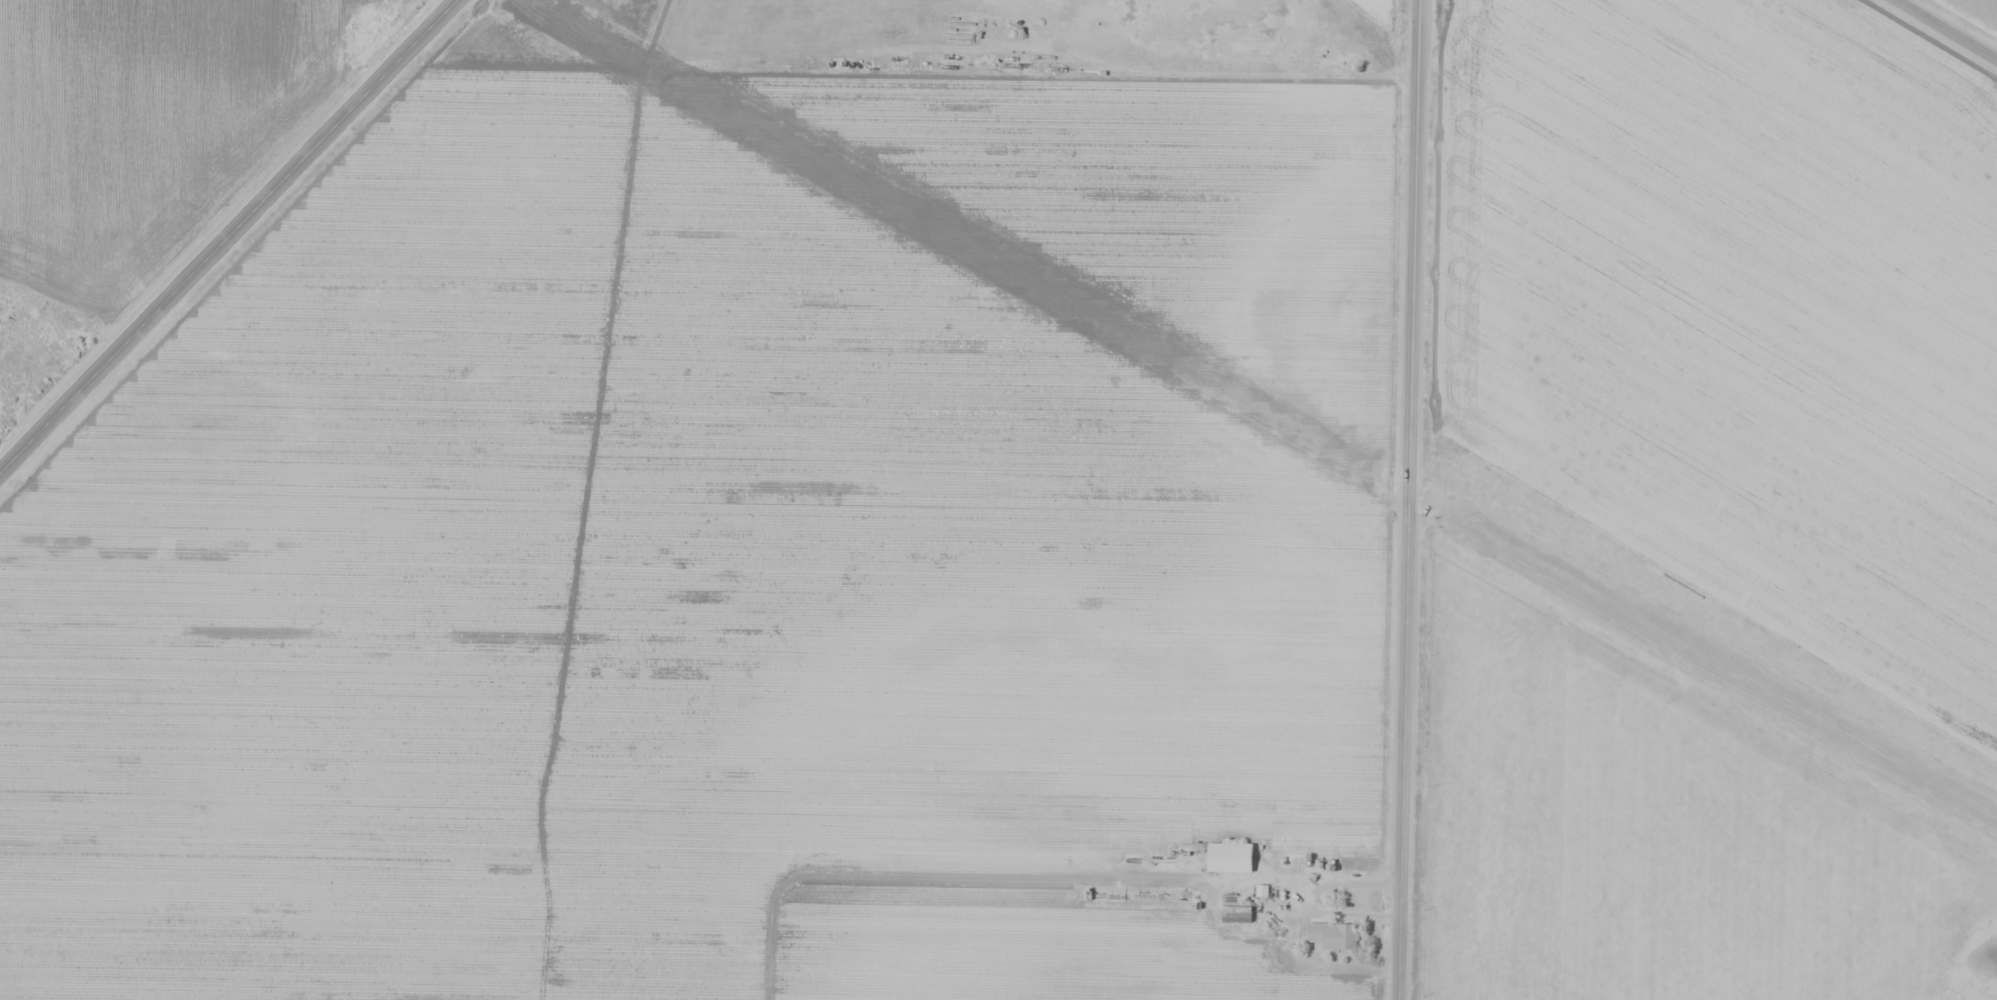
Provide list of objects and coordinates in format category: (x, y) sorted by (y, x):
park: (1974, 12)
road: (1970, 15)
road: (1945, 31)
road: (228, 237)
road: (1411, 500)
building: (1229, 856)
building: (1235, 912)
building: (1333, 934)

